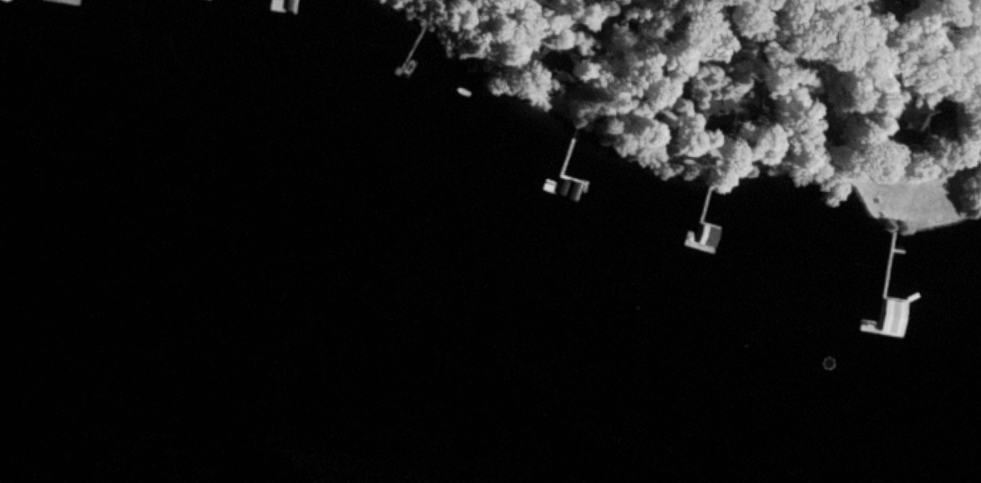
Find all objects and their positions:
building: (551, 70)
building: (980, 80)
building: (736, 104)
building: (913, 121)
building: (888, 307)

